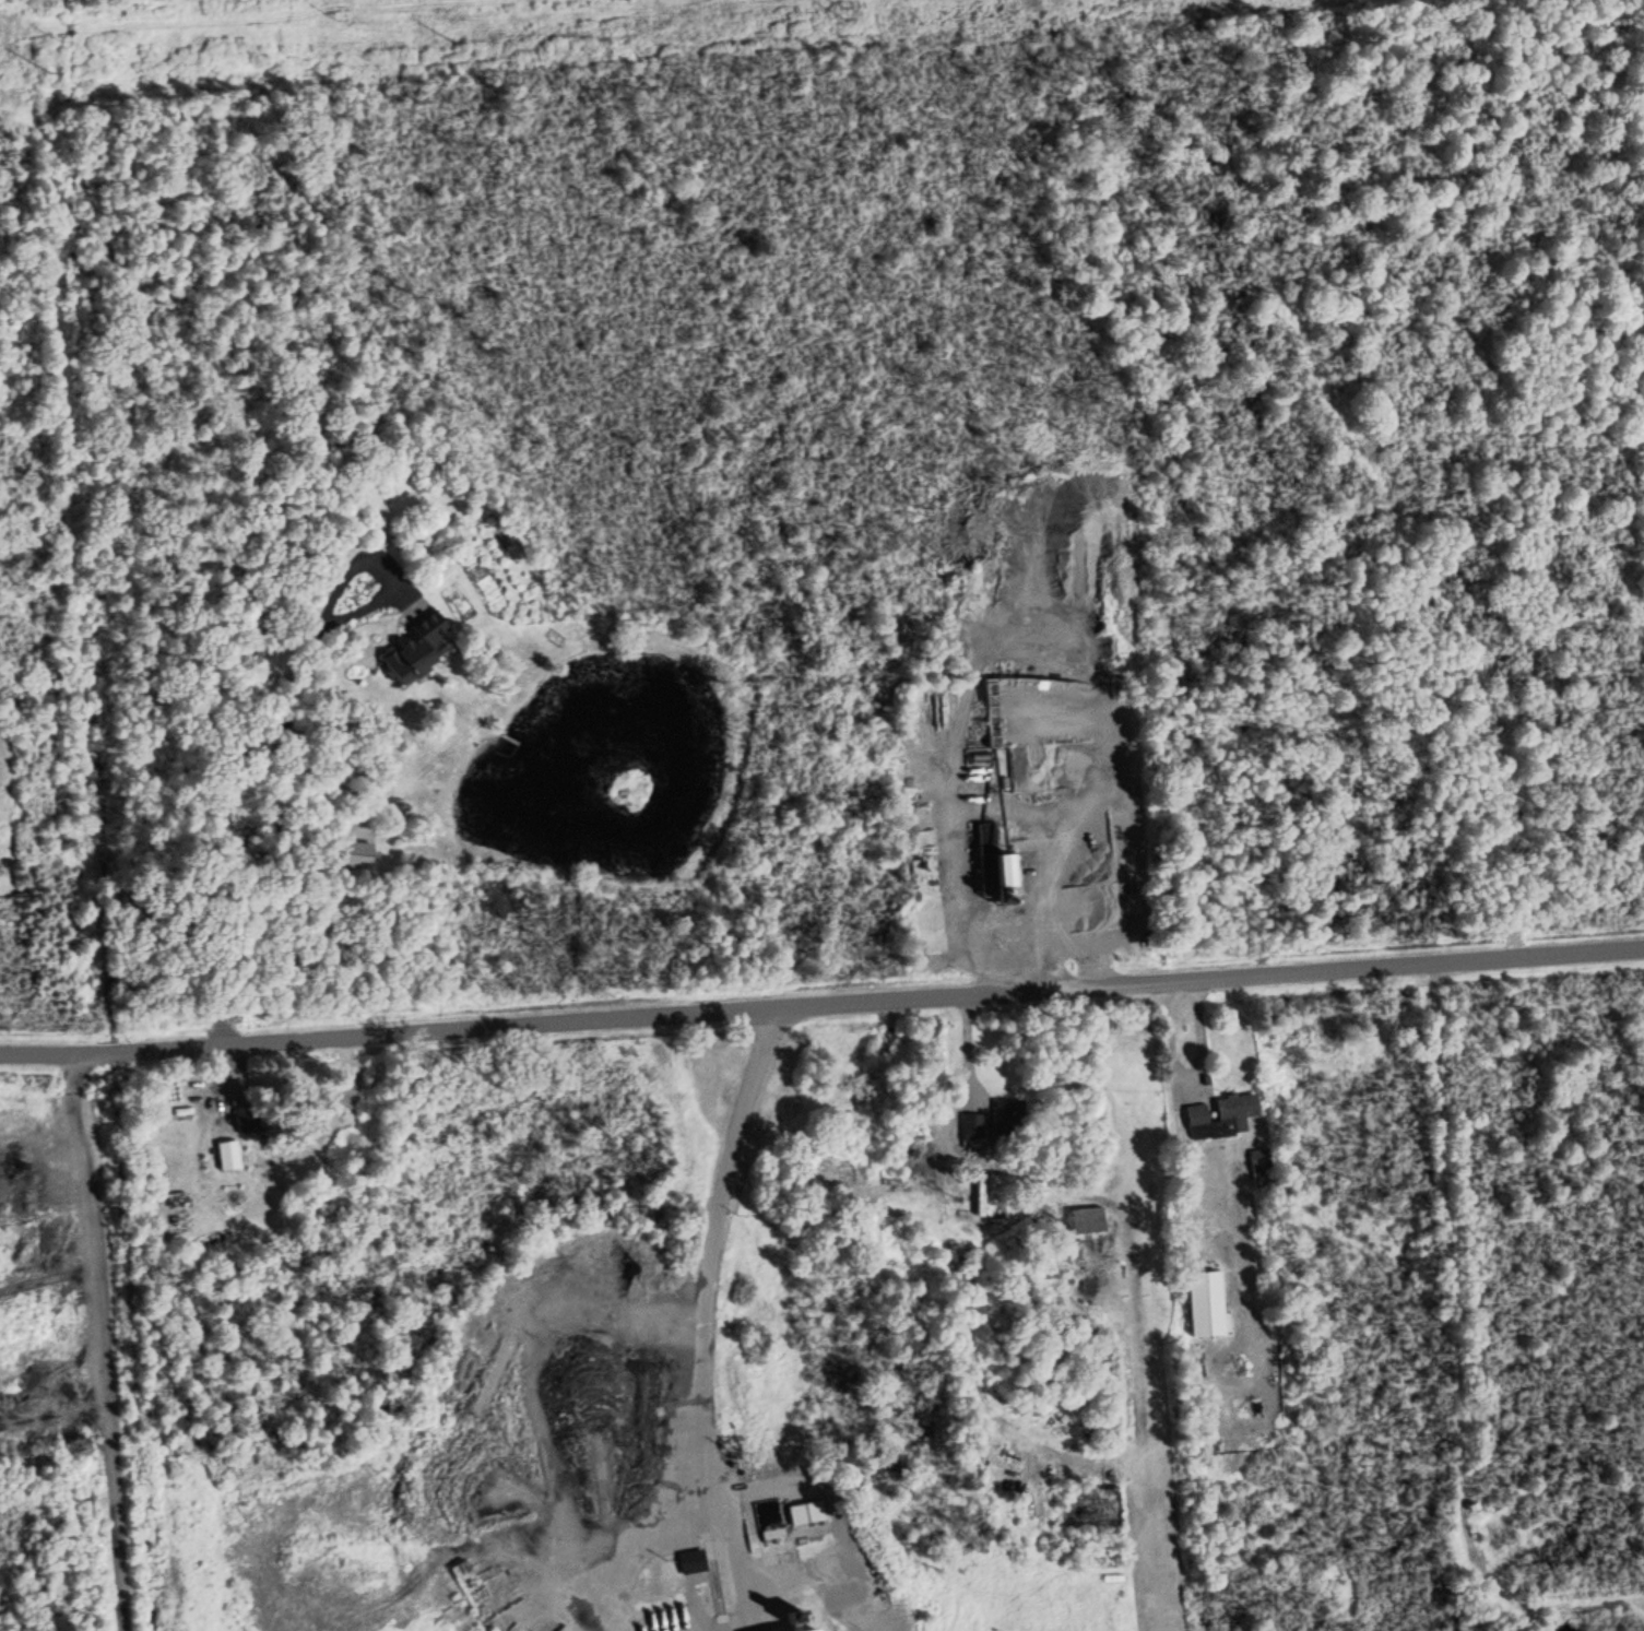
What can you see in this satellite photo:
crop: (33, 2)
power tower: (839, 9)
power tower: (338, 19)
power tower: (58, 37)
power tower: (457, 39)
power tower: (46, 70)
building: (989, 566)
building: (412, 654)
building: (353, 852)
building: (1004, 874)
road: (821, 1000)
building: (1220, 1114)
building: (226, 1153)
building: (1086, 1217)
road: (711, 1251)
building: (1052, 1280)
building: (1205, 1302)
airport runway: (1140, 1334)
road: (103, 1342)
quarry: (599, 1349)
building: (803, 1510)
building: (690, 1559)
building: (784, 1626)

